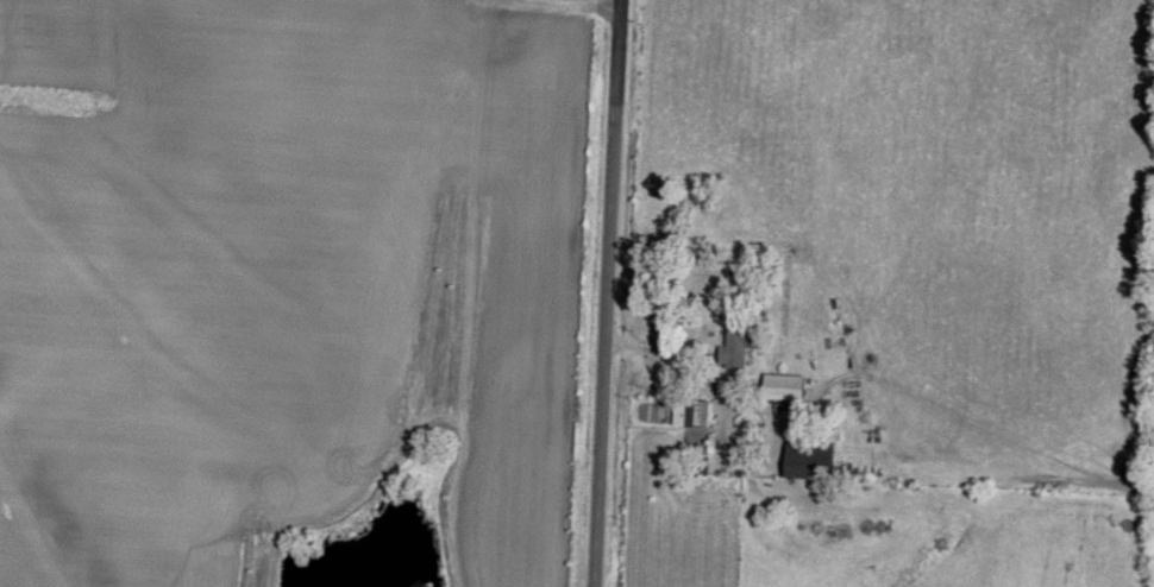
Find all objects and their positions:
road: (607, 293)
building: (740, 342)
building: (729, 384)
building: (784, 384)
building: (809, 457)

